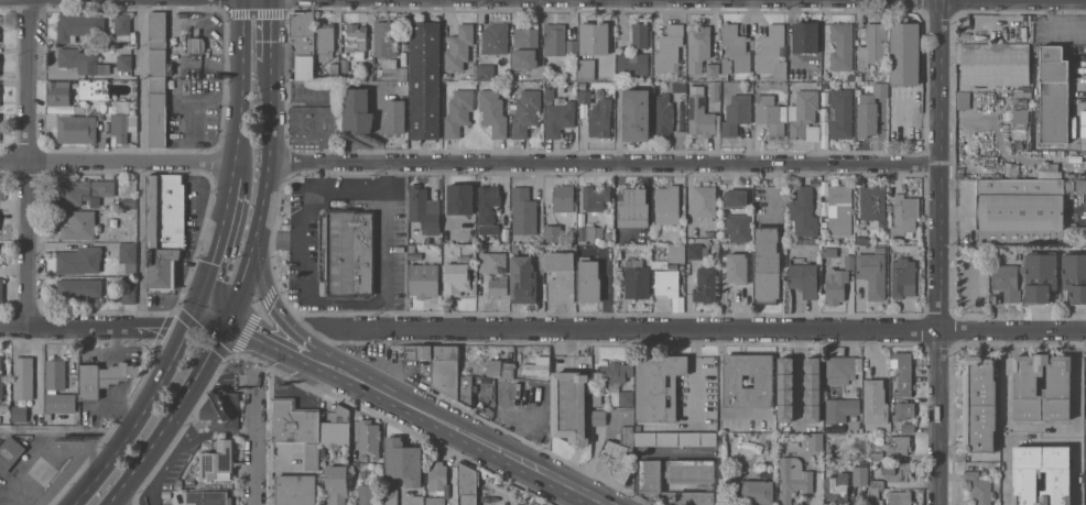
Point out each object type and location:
traffic signals: (241, 15)
traffic signals: (272, 17)
building: (79, 25)
building: (122, 26)
building: (640, 34)
building: (356, 36)
building: (526, 37)
building: (595, 37)
building: (805, 37)
building: (495, 39)
building: (555, 39)
road: (271, 40)
building: (384, 40)
building: (325, 41)
building: (304, 43)
building: (196, 44)
building: (873, 44)
building: (841, 45)
building: (698, 46)
building: (159, 47)
building: (459, 47)
building: (572, 47)
building: (667, 47)
building: (770, 47)
building: (735, 50)
building: (905, 53)
building: (82, 61)
building: (522, 61)
building: (124, 62)
building: (633, 63)
building: (993, 63)
building: (344, 66)
building: (335, 69)
building: (587, 69)
building: (713, 69)
building: (392, 70)
building: (486, 72)
building: (368, 73)
building: (551, 76)
building: (858, 77)
road: (241, 79)
building: (425, 79)
road: (140, 80)
building: (583, 85)
building: (792, 85)
building: (678, 87)
building: (94, 89)
building: (880, 89)
building: (549, 90)
building: (58, 91)
building: (715, 91)
building: (585, 95)
building: (1053, 95)
building: (963, 99)
building: (120, 106)
building: (80, 107)
building: (357, 109)
building: (458, 111)
building: (493, 111)
building: (525, 111)
building: (158, 112)
building: (699, 113)
building: (737, 113)
building: (841, 113)
building: (637, 114)
building: (770, 114)
building: (804, 116)
building: (101, 117)
building: (395, 117)
building: (558, 117)
building: (663, 117)
building: (600, 118)
building: (867, 119)
building: (314, 125)
building: (73, 128)
building: (122, 128)
building: (960, 139)
road: (269, 147)
building: (960, 154)
road: (15, 160)
road: (134, 161)
road: (605, 162)
road: (30, 164)
building: (1050, 174)
road: (318, 176)
building: (1080, 186)
building: (1068, 188)
building: (1, 190)
road: (775, 190)
building: (86, 191)
building: (736, 197)
building: (563, 198)
building: (596, 198)
building: (460, 199)
building: (704, 201)
building: (872, 201)
building: (129, 202)
building: (667, 205)
building: (488, 208)
building: (633, 208)
building: (424, 209)
building: (840, 210)
building: (523, 211)
building: (1023, 211)
building: (165, 212)
building: (803, 212)
building: (902, 218)
building: (80, 224)
building: (738, 227)
road: (388, 231)
building: (553, 233)
building: (589, 233)
road: (279, 238)
building: (862, 239)
building: (799, 240)
building: (824, 240)
building: (806, 241)
road: (140, 244)
road: (215, 245)
road: (304, 245)
building: (412, 248)
building: (481, 248)
building: (514, 250)
building: (697, 251)
building: (347, 252)
building: (829, 252)
road: (941, 252)
building: (129, 256)
building: (671, 256)
building: (79, 260)
building: (1, 261)
building: (492, 262)
building: (849, 262)
building: (768, 264)
building: (163, 267)
building: (738, 267)
road: (245, 270)
building: (872, 273)
building: (1075, 275)
building: (457, 276)
building: (561, 276)
building: (1040, 276)
building: (903, 277)
building: (804, 278)
building: (424, 279)
building: (523, 279)
building: (589, 279)
building: (1007, 281)
building: (637, 282)
building: (666, 282)
building: (706, 285)
building: (836, 285)
building: (499, 286)
building: (79, 287)
building: (1, 292)
building: (129, 295)
road: (608, 295)
road: (282, 315)
road: (388, 316)
traffic signals: (227, 322)
road: (205, 326)
road: (91, 328)
traffic signals: (184, 329)
road: (706, 332)
road: (293, 351)
building: (543, 359)
building: (490, 366)
building: (502, 367)
building: (843, 369)
building: (446, 372)
building: (904, 374)
building: (102, 377)
road: (697, 377)
building: (808, 377)
building: (23, 378)
building: (1085, 378)
building: (1, 381)
building: (734, 381)
building: (618, 382)
building: (658, 386)
building: (57, 387)
building: (780, 387)
building: (1056, 391)
building: (598, 399)
building: (876, 402)
building: (979, 404)
building: (569, 406)
building: (840, 409)
building: (221, 410)
building: (903, 410)
building: (20, 414)
building: (61, 415)
road: (172, 416)
building: (785, 416)
building: (599, 417)
building: (343, 418)
road: (135, 420)
building: (294, 420)
road: (1043, 426)
building: (908, 427)
road: (65, 430)
building: (370, 437)
road: (258, 439)
building: (676, 439)
road: (1042, 440)
road: (482, 441)
building: (815, 441)
building: (900, 446)
building: (10, 452)
building: (312, 457)
building: (618, 457)
building: (878, 457)
building: (363, 458)
building: (218, 460)
building: (403, 462)
building: (897, 471)
building: (860, 473)
building: (363, 474)
building: (1028, 474)
building: (1057, 474)
building: (678, 479)
building: (793, 479)
building: (437, 483)
building: (337, 484)
building: (468, 484)
building: (837, 487)
building: (979, 487)
building: (295, 490)
building: (757, 492)
building: (876, 492)
building: (365, 494)
building: (391, 496)
building: (210, 497)
building: (532, 497)
building: (899, 498)
building: (419, 499)

